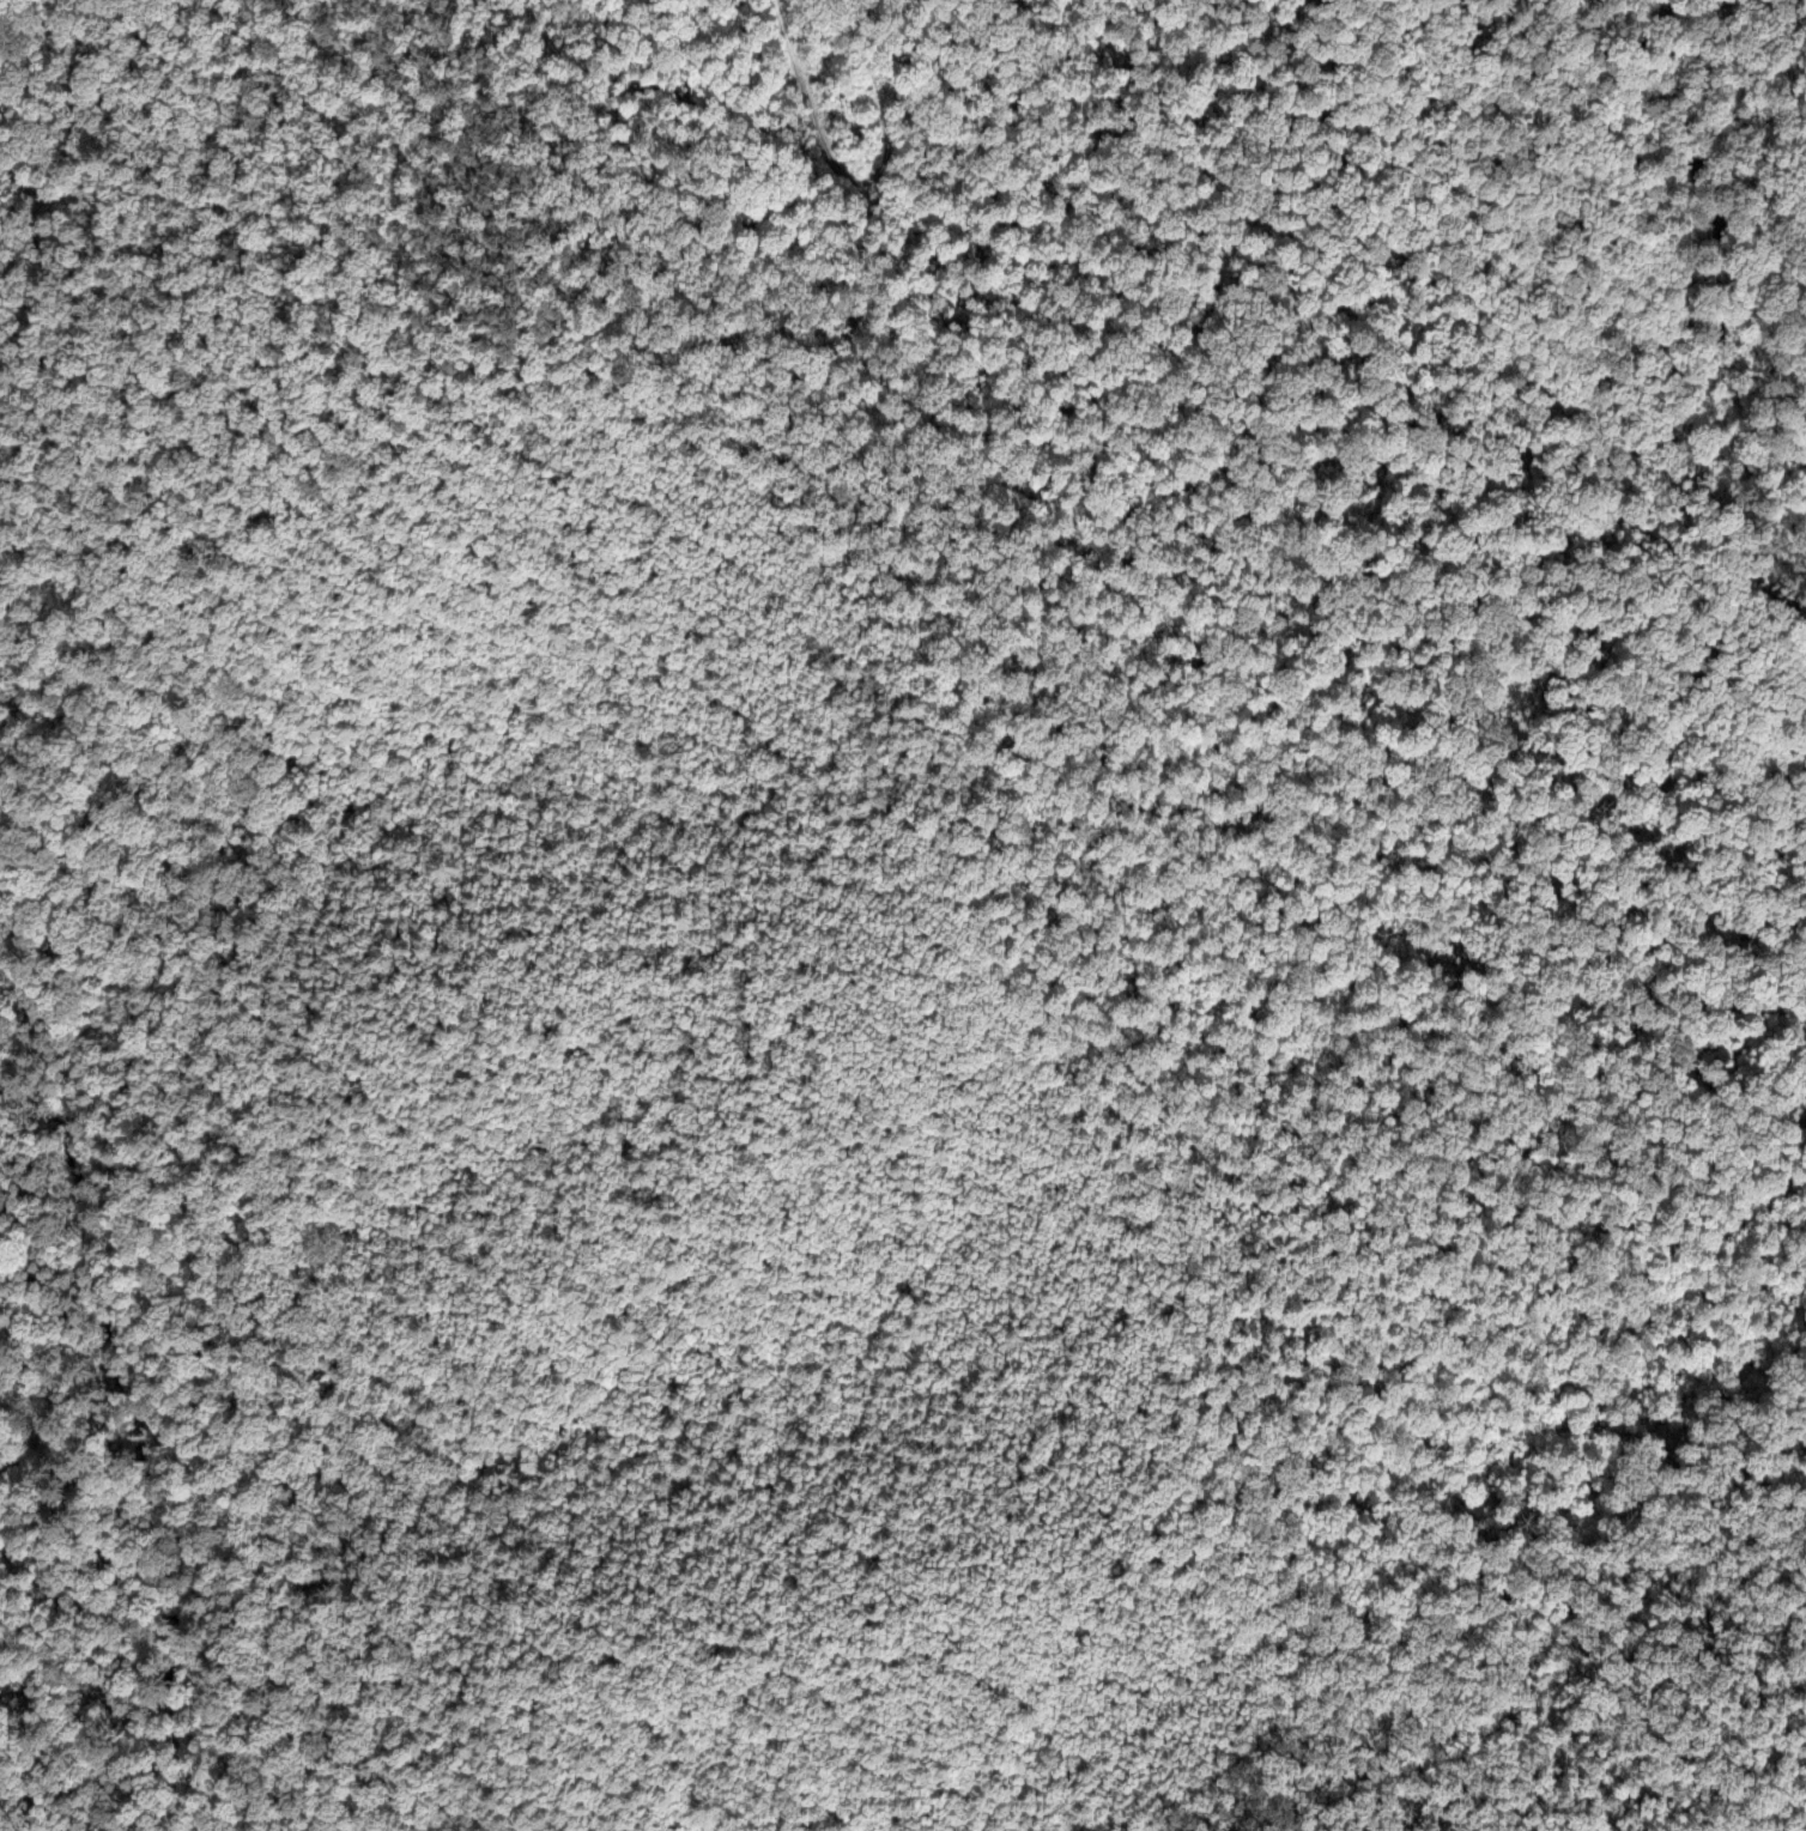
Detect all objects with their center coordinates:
road: (1781, 66)
road: (800, 85)
road: (931, 275)

